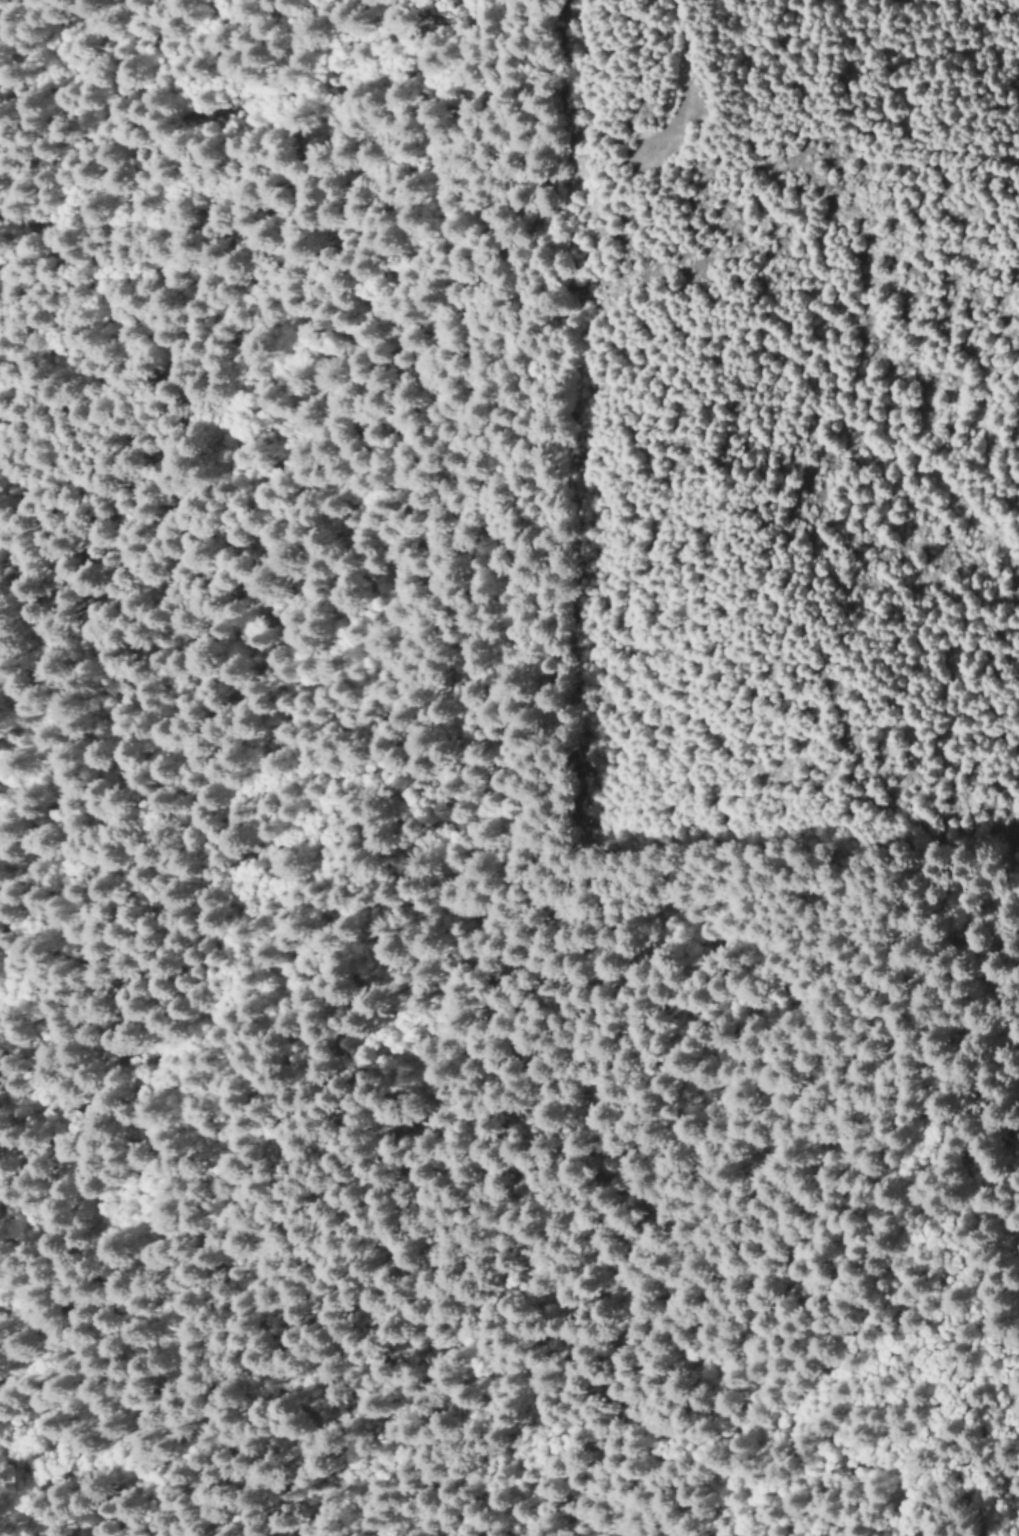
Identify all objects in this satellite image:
road: (668, 84)

